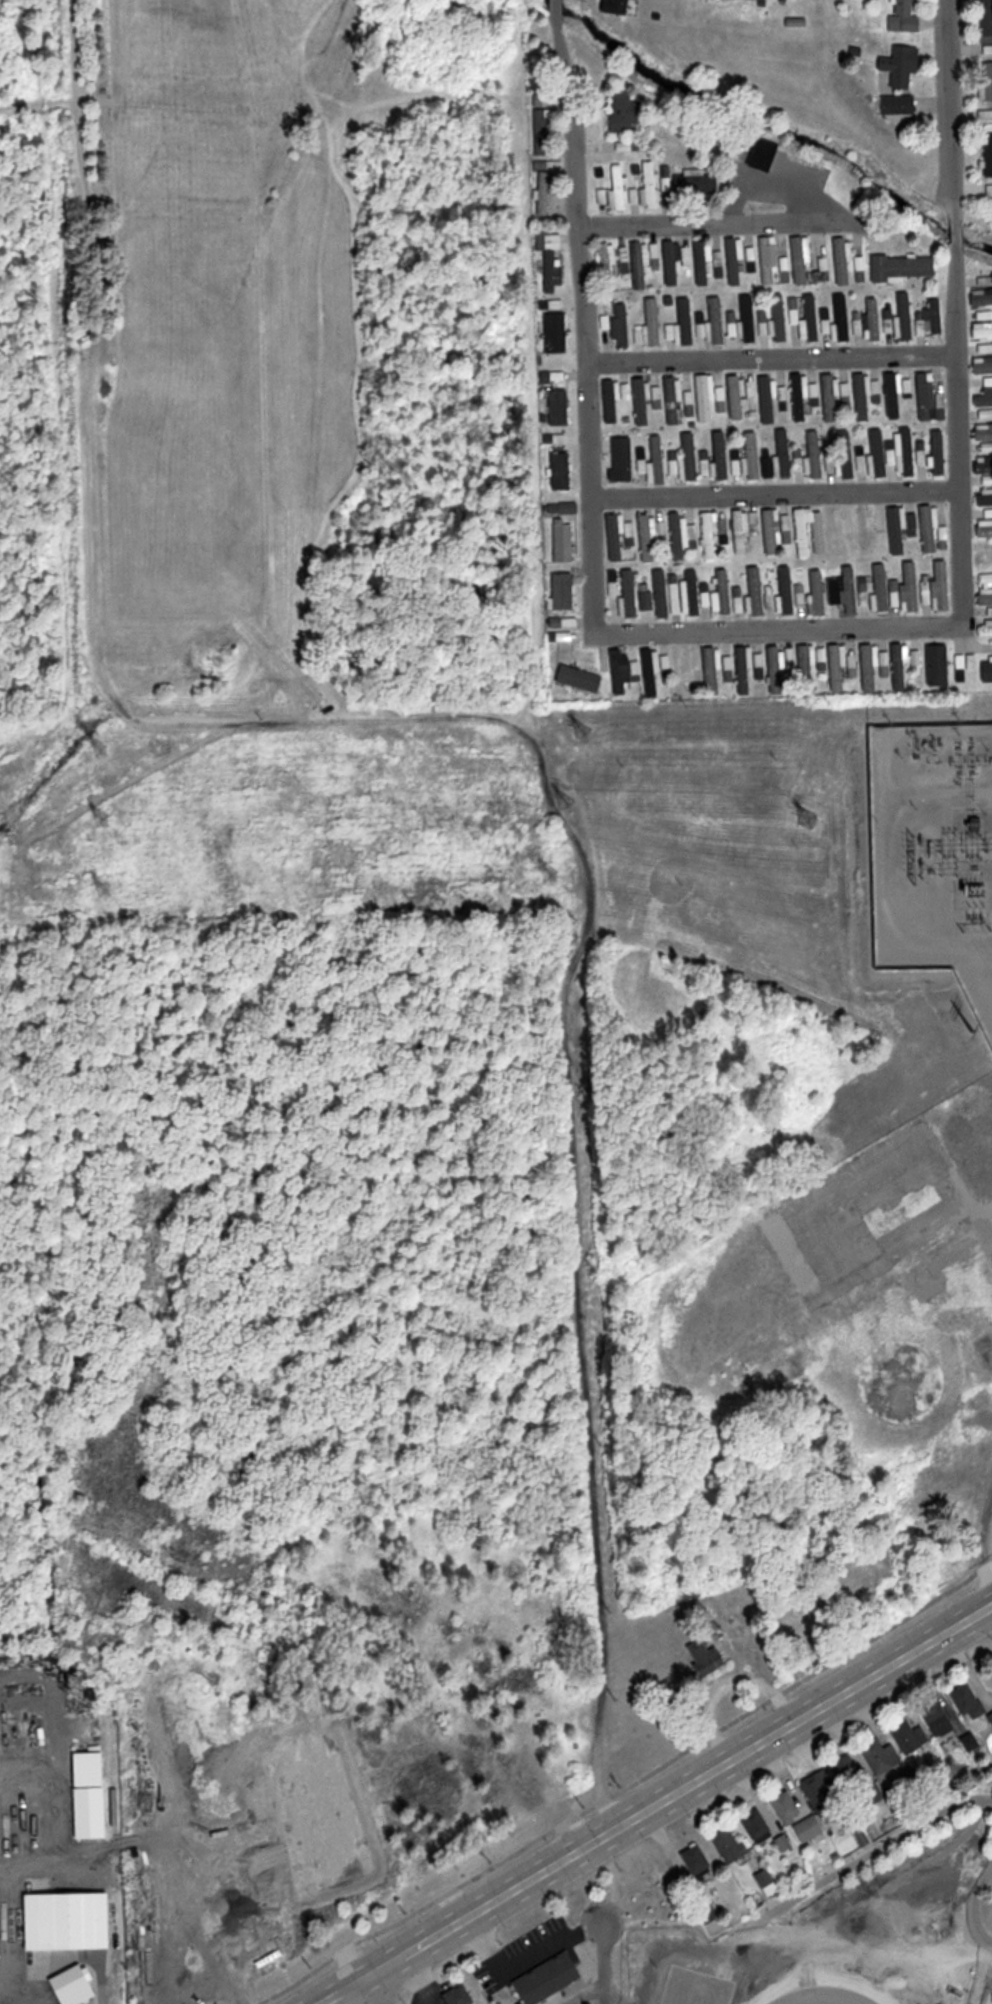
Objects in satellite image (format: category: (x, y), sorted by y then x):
building: (854, 0)
building: (986, 17)
building: (906, 18)
building: (903, 66)
building: (988, 82)
building: (899, 106)
building: (627, 112)
building: (988, 114)
building: (542, 125)
building: (988, 153)
building: (698, 183)
building: (651, 184)
building: (620, 186)
building: (989, 191)
building: (544, 192)
road: (704, 221)
building: (655, 254)
building: (609, 258)
building: (766, 259)
building: (841, 259)
building: (625, 260)
building: (798, 260)
building: (672, 262)
building: (732, 262)
building: (640, 264)
building: (699, 264)
building: (902, 267)
building: (554, 269)
building: (823, 271)
building: (980, 297)
road: (946, 310)
road: (582, 314)
building: (794, 316)
building: (935, 316)
building: (748, 317)
building: (779, 318)
building: (814, 318)
building: (843, 318)
building: (906, 318)
building: (686, 320)
building: (717, 320)
building: (874, 320)
building: (653, 321)
building: (622, 322)
building: (733, 325)
building: (555, 331)
building: (980, 331)
road: (767, 357)
building: (981, 366)
building: (988, 383)
building: (924, 391)
building: (891, 394)
building: (862, 396)
building: (797, 397)
building: (829, 397)
building: (671, 398)
building: (689, 398)
building: (735, 398)
building: (705, 399)
building: (720, 399)
building: (765, 399)
building: (981, 400)
building: (611, 402)
building: (642, 402)
building: (560, 406)
building: (981, 432)
building: (905, 450)
building: (878, 452)
building: (816, 454)
building: (847, 454)
building: (934, 454)
building: (720, 455)
building: (753, 455)
building: (787, 455)
building: (690, 456)
building: (624, 457)
building: (660, 457)
building: (799, 461)
building: (706, 463)
building: (983, 465)
building: (845, 466)
building: (737, 467)
building: (564, 472)
building: (988, 479)
road: (769, 493)
building: (983, 498)
building: (567, 509)
building: (988, 513)
building: (881, 524)
building: (896, 529)
building: (929, 529)
building: (834, 530)
building: (863, 530)
building: (740, 531)
building: (801, 531)
building: (770, 532)
building: (983, 532)
building: (708, 534)
building: (615, 535)
building: (646, 536)
building: (677, 536)
building: (566, 541)
building: (940, 585)
building: (910, 587)
building: (884, 588)
building: (756, 589)
building: (787, 589)
building: (849, 590)
building: (566, 591)
building: (631, 591)
building: (661, 592)
building: (693, 592)
building: (724, 592)
building: (818, 592)
building: (985, 596)
building: (985, 628)
road: (771, 631)
building: (965, 661)
building: (936, 663)
building: (835, 665)
building: (712, 666)
building: (742, 666)
building: (868, 666)
building: (899, 666)
building: (802, 667)
building: (772, 668)
building: (650, 669)
building: (728, 669)
building: (618, 670)
building: (681, 670)
building: (987, 670)
building: (582, 677)
power tower: (582, 732)
power tower: (100, 748)
road: (936, 790)
power tower: (568, 804)
power tower: (106, 818)
power tower: (807, 821)
power substation: (933, 854)
power tower: (548, 872)
power tower: (108, 892)
road: (886, 916)
road: (984, 969)
power tower: (971, 1037)
building: (978, 1401)
road: (980, 1533)
building: (709, 1656)
building: (975, 1701)
building: (944, 1718)
building: (910, 1736)
building: (881, 1755)
building: (848, 1771)
building: (824, 1794)
road: (650, 1803)
building: (788, 1807)
building: (761, 1827)
building: (809, 1829)
building: (730, 1844)
building: (698, 1861)
road: (830, 1878)
building: (766, 1879)
road: (889, 1884)
road: (976, 1908)
building: (70, 1920)
park: (851, 1936)
road: (859, 1947)
road: (520, 1961)
road: (600, 1962)
road: (421, 1972)
building: (550, 1978)
road: (384, 1982)
building: (76, 1985)
park: (777, 1986)
road: (604, 1990)
building: (461, 1995)
park: (984, 1999)
building: (989, 2000)
road: (319, 2002)

